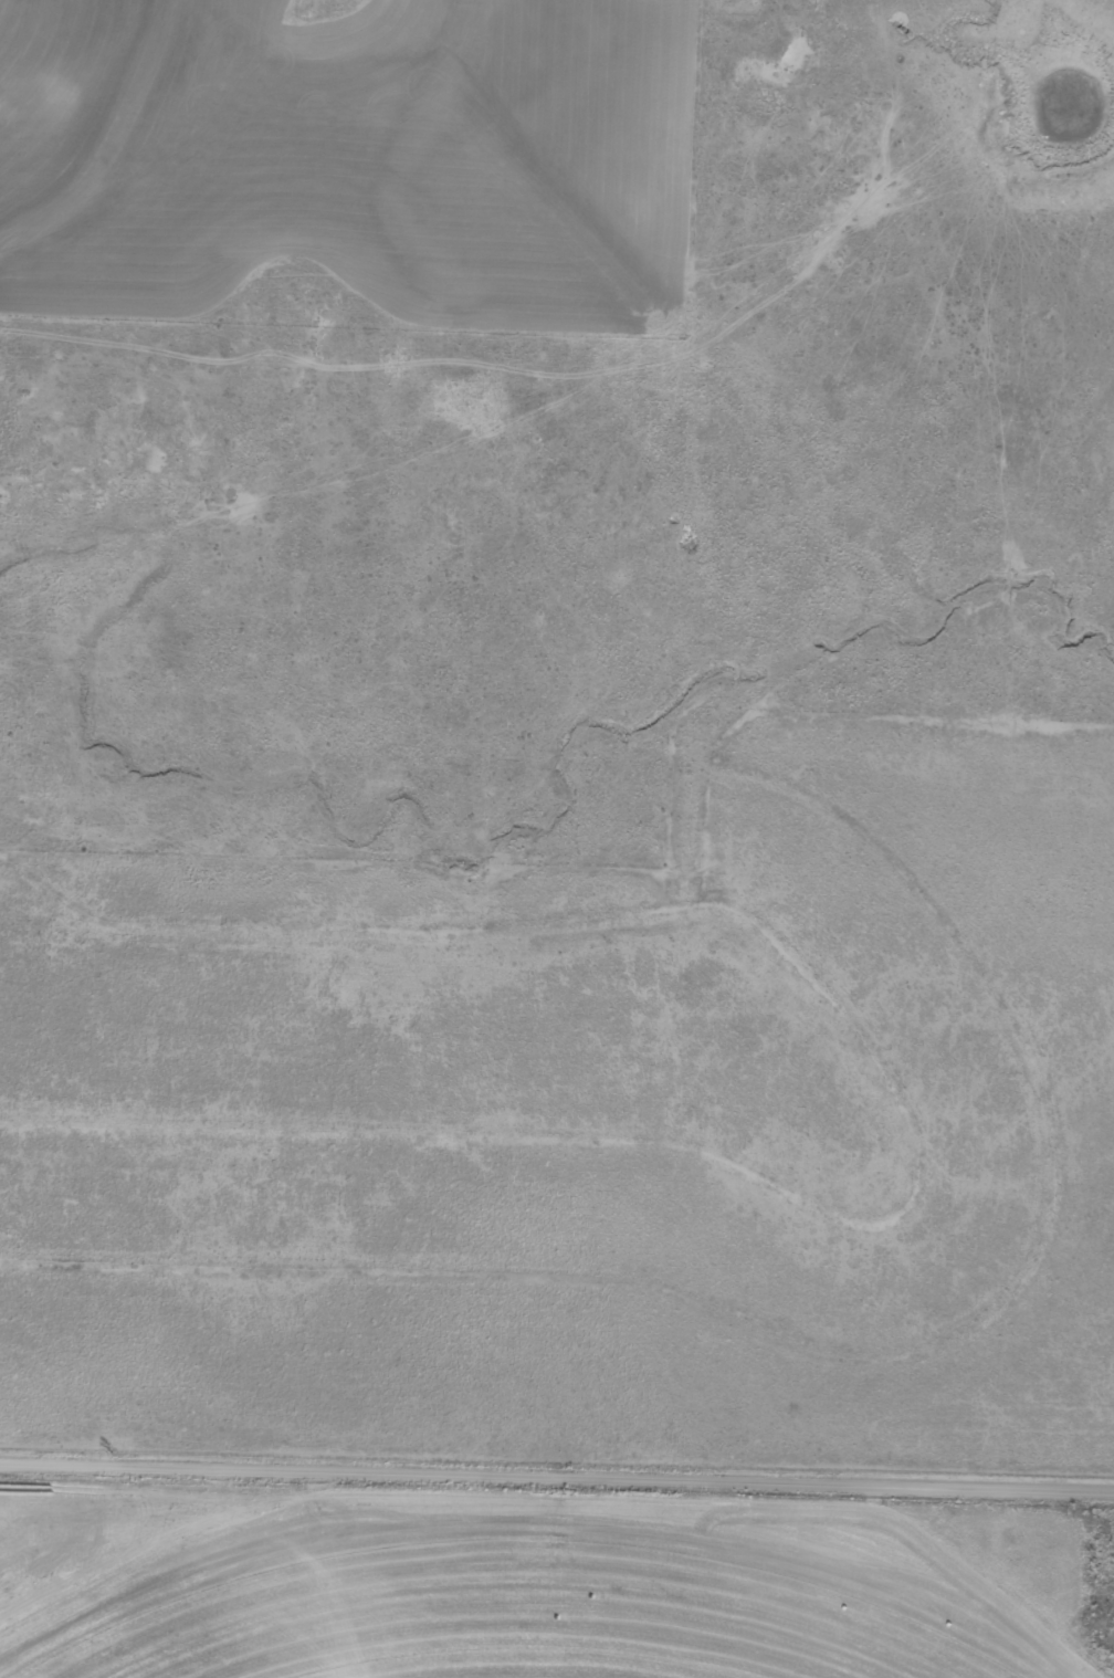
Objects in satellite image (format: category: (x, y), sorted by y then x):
road: (557, 1472)

